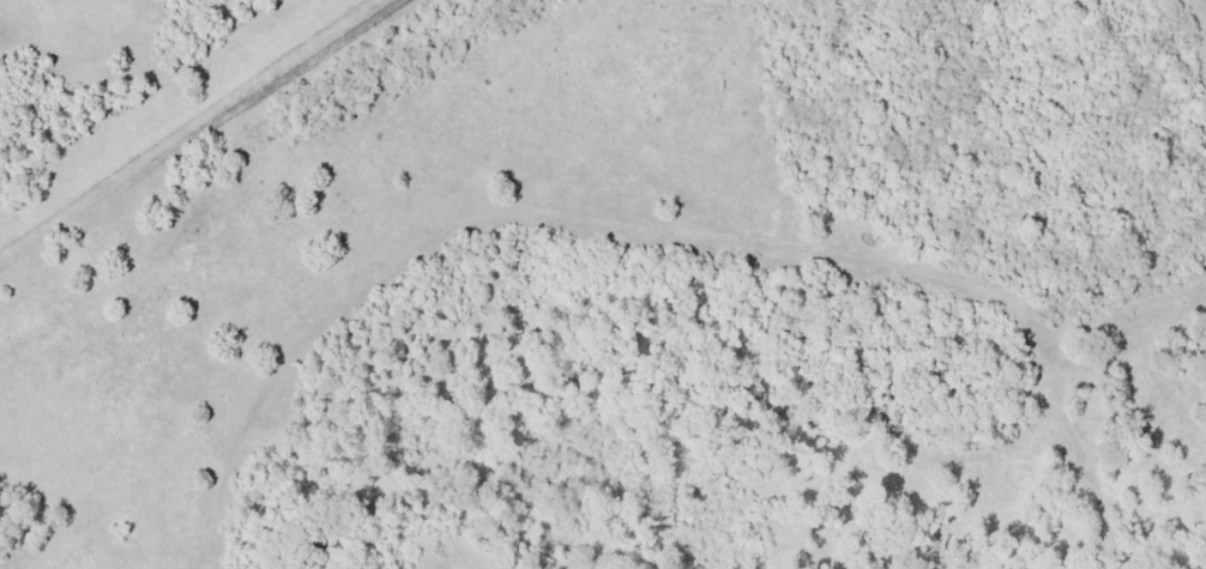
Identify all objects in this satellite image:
road: (113, 42)

